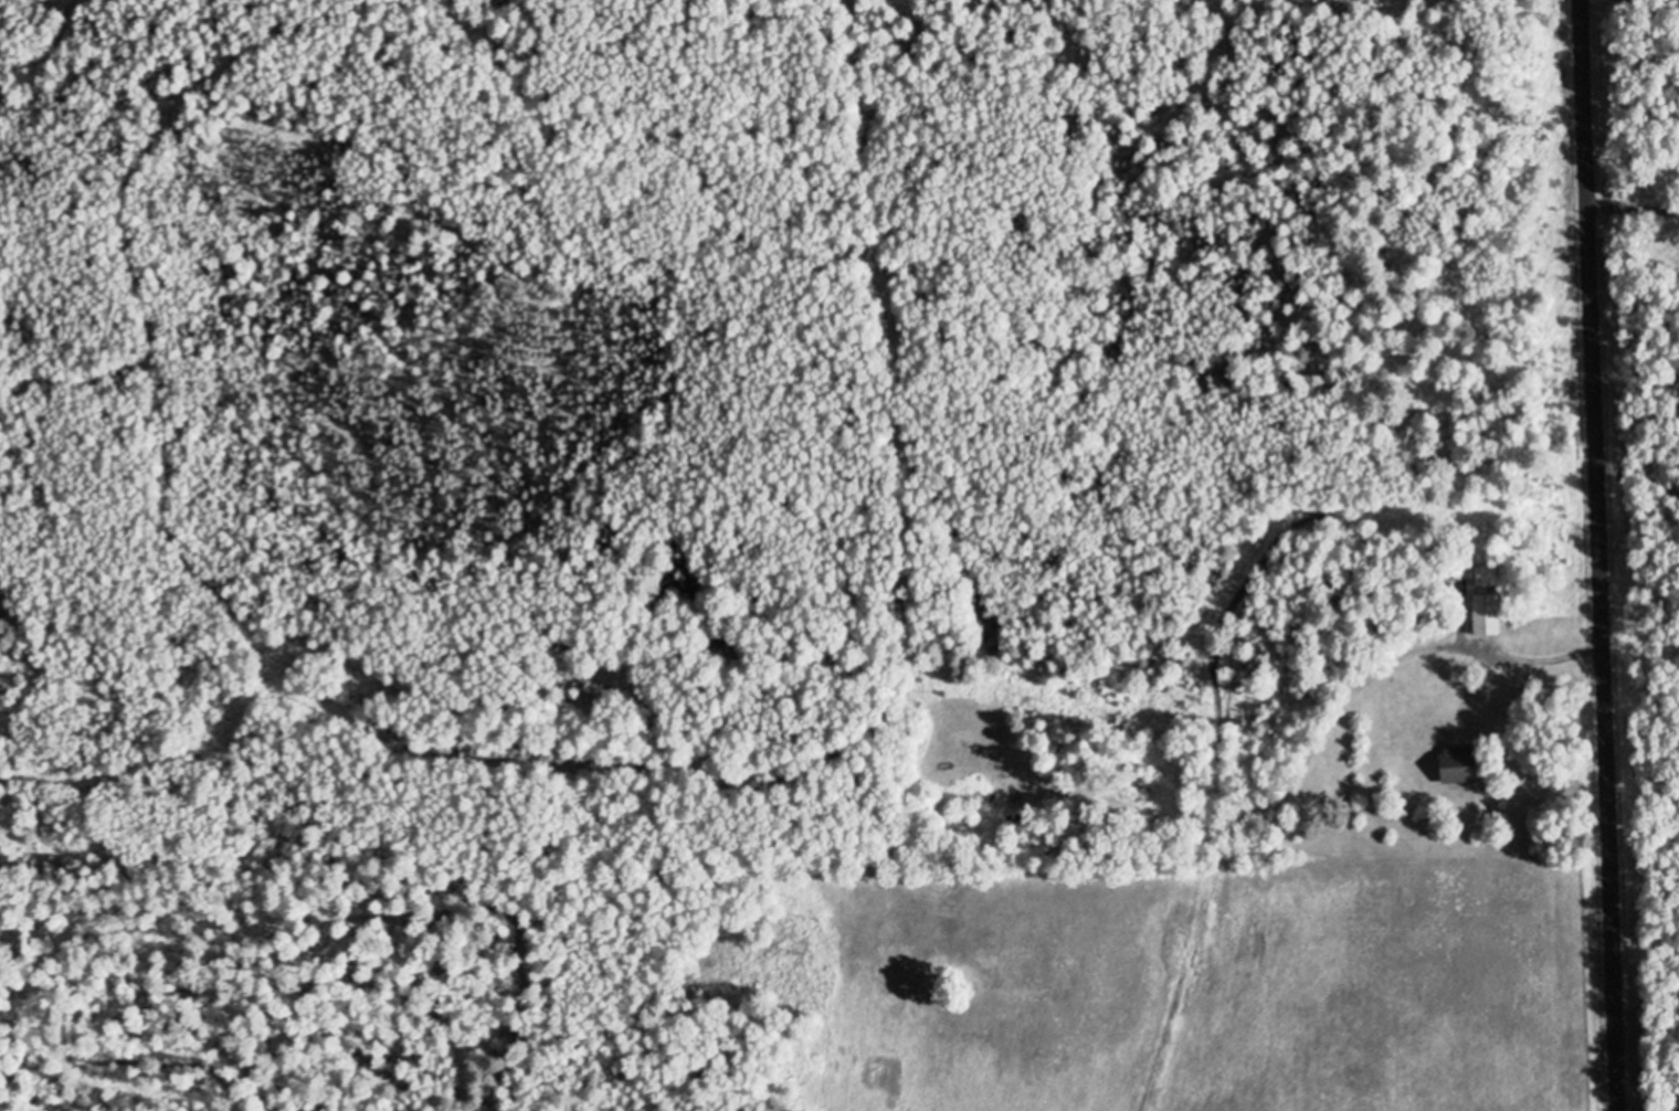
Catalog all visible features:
road: (1633, 208)
road: (1601, 554)
building: (1482, 613)
road: (1532, 660)
building: (1454, 763)

